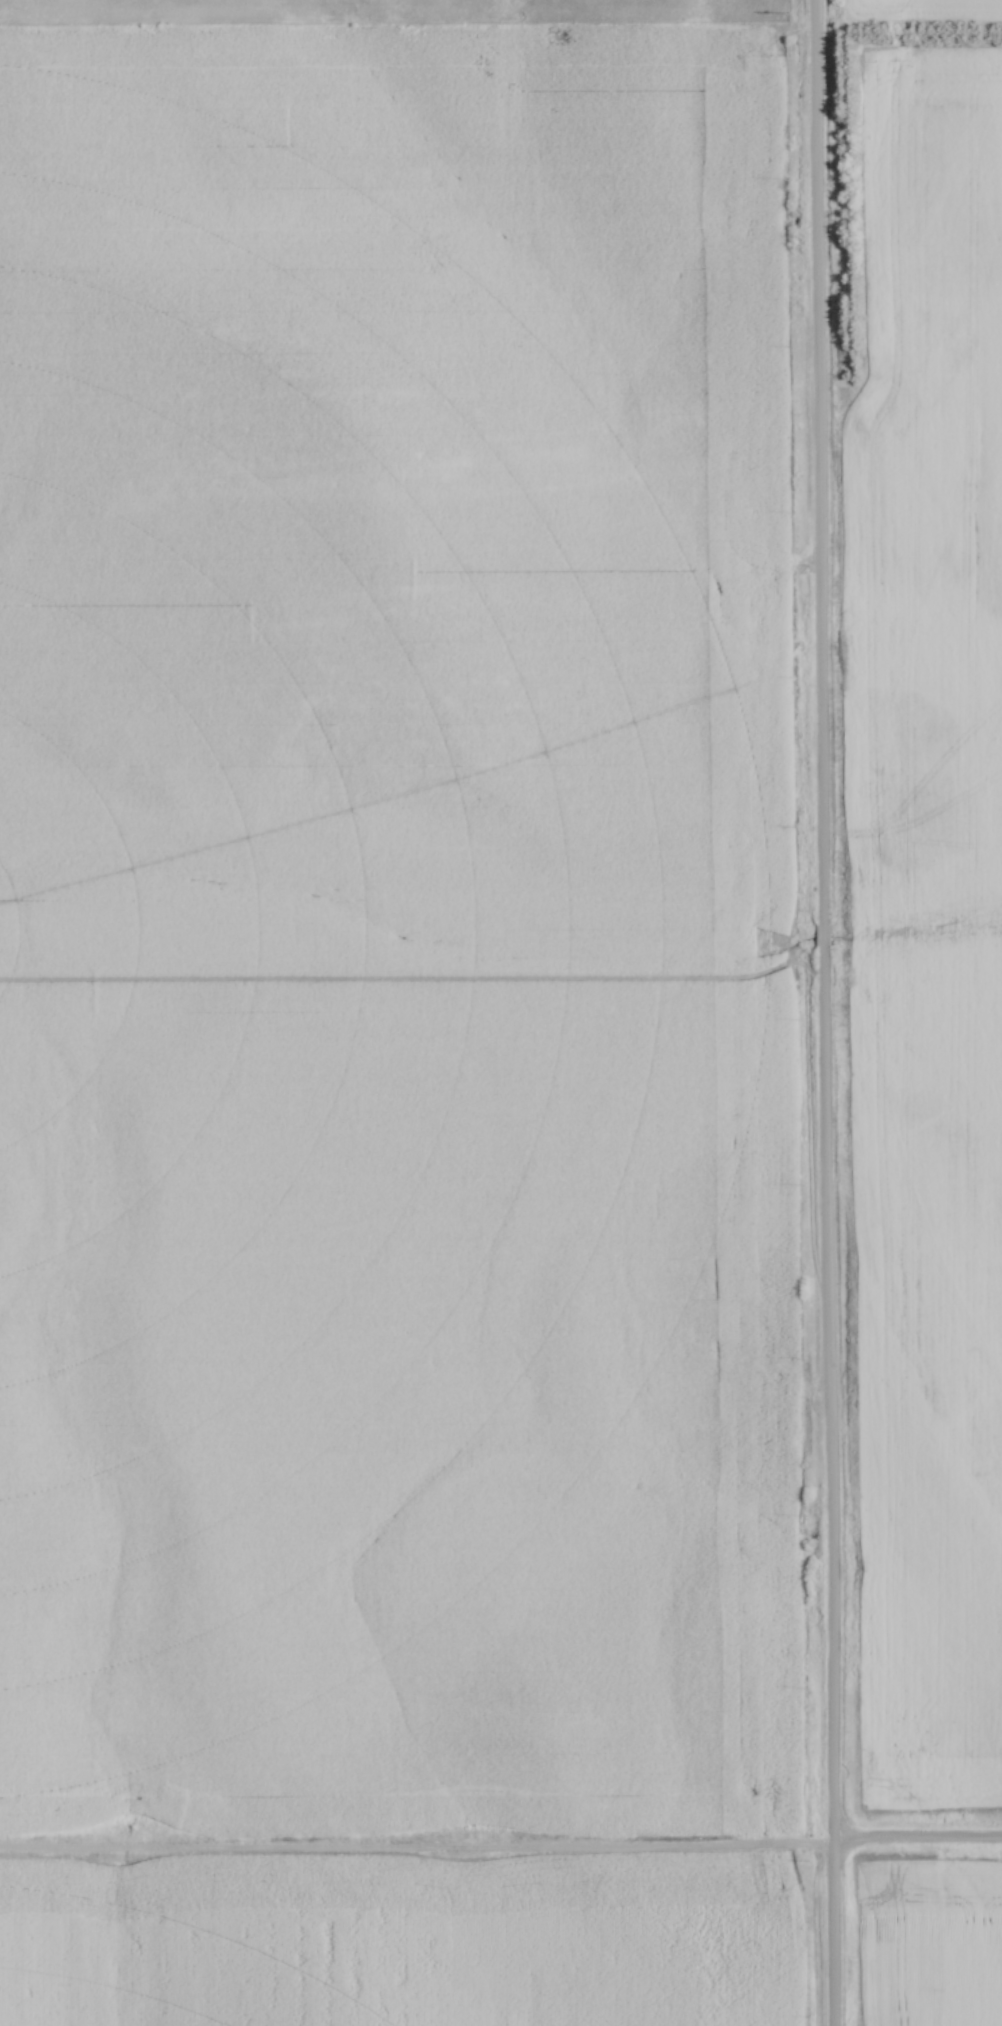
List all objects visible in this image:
road: (823, 1013)
road: (918, 1835)
road: (417, 1845)

